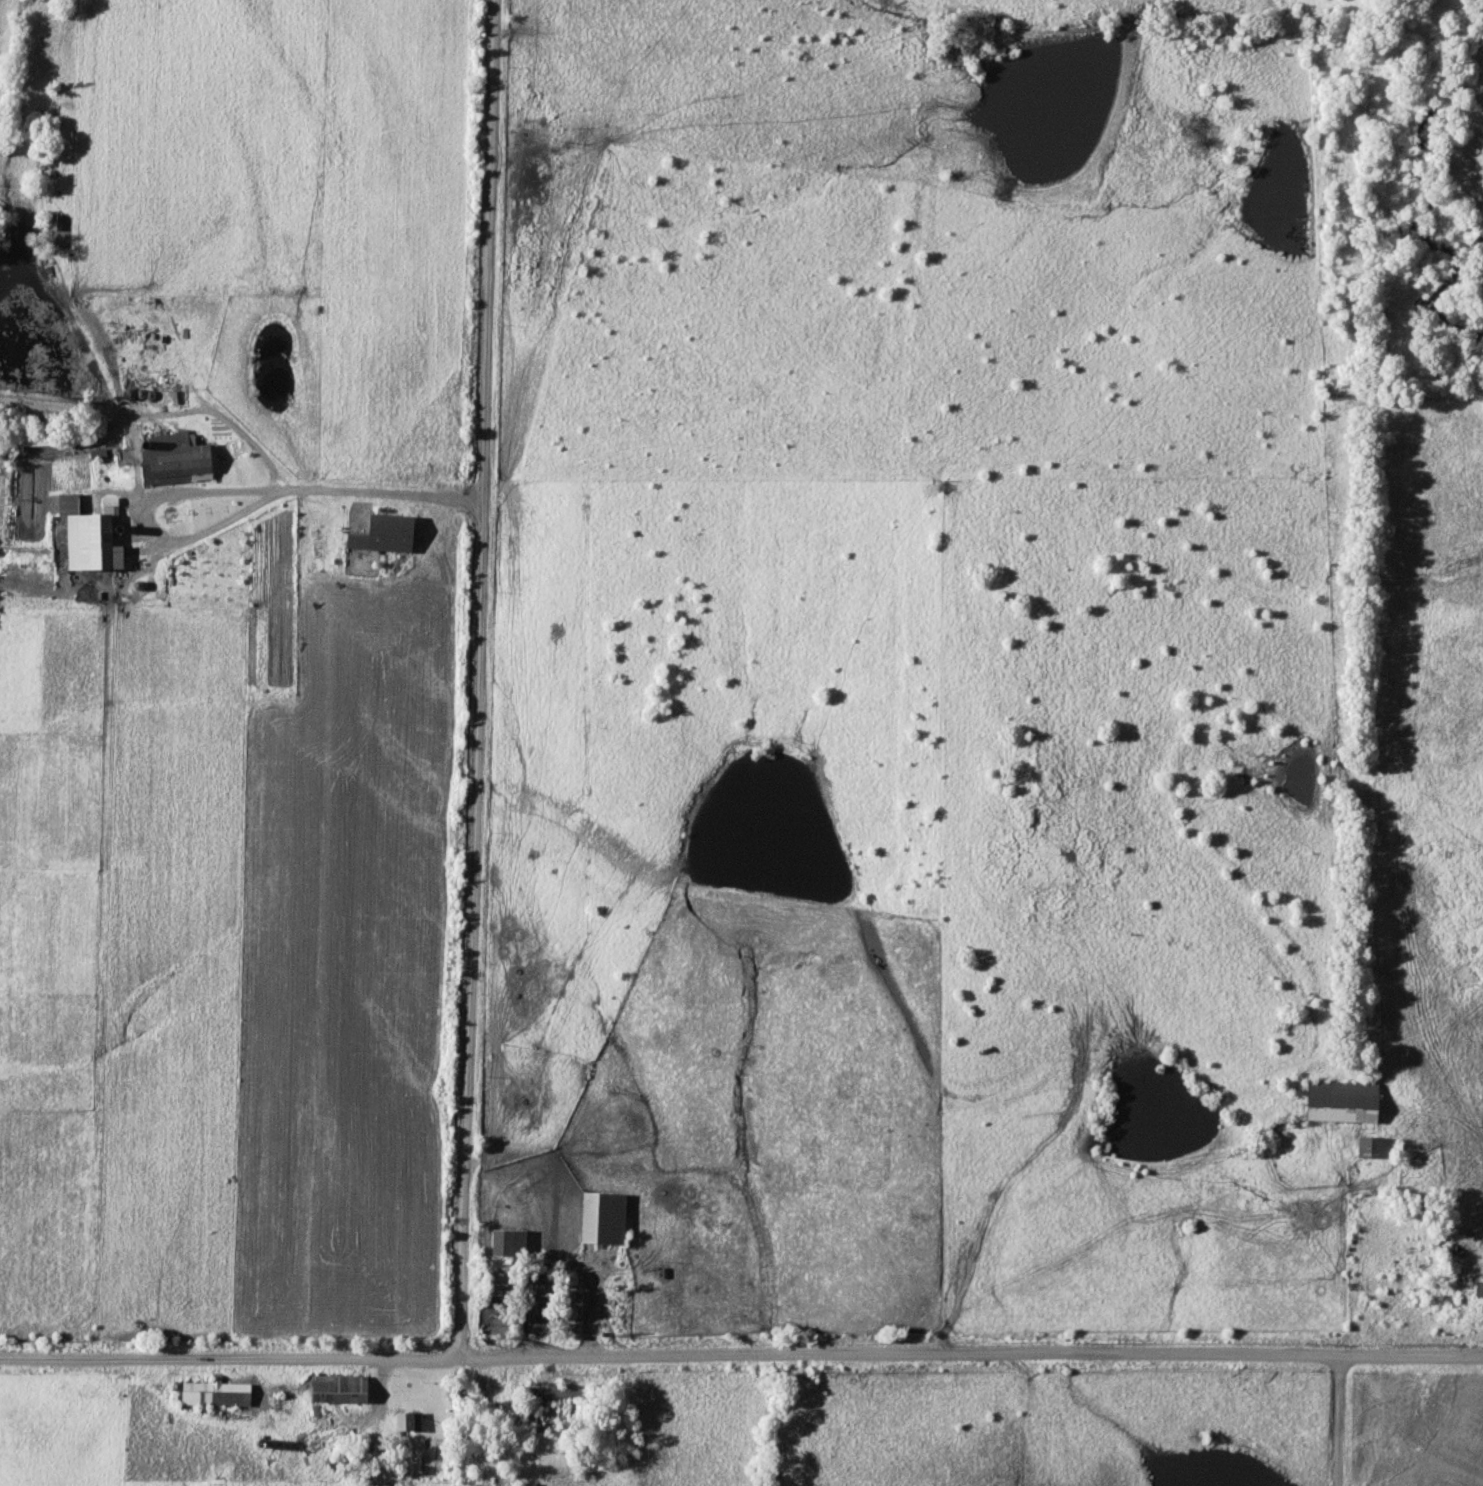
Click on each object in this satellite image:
building: (176, 459)
building: (385, 534)
building: (99, 542)
road: (479, 678)
building: (1342, 1103)
building: (1376, 1148)
building: (603, 1219)
building: (508, 1244)
building: (1479, 1290)
road: (975, 1355)
road: (234, 1358)
building: (340, 1390)
building: (215, 1394)
road: (1340, 1420)
building: (409, 1423)

